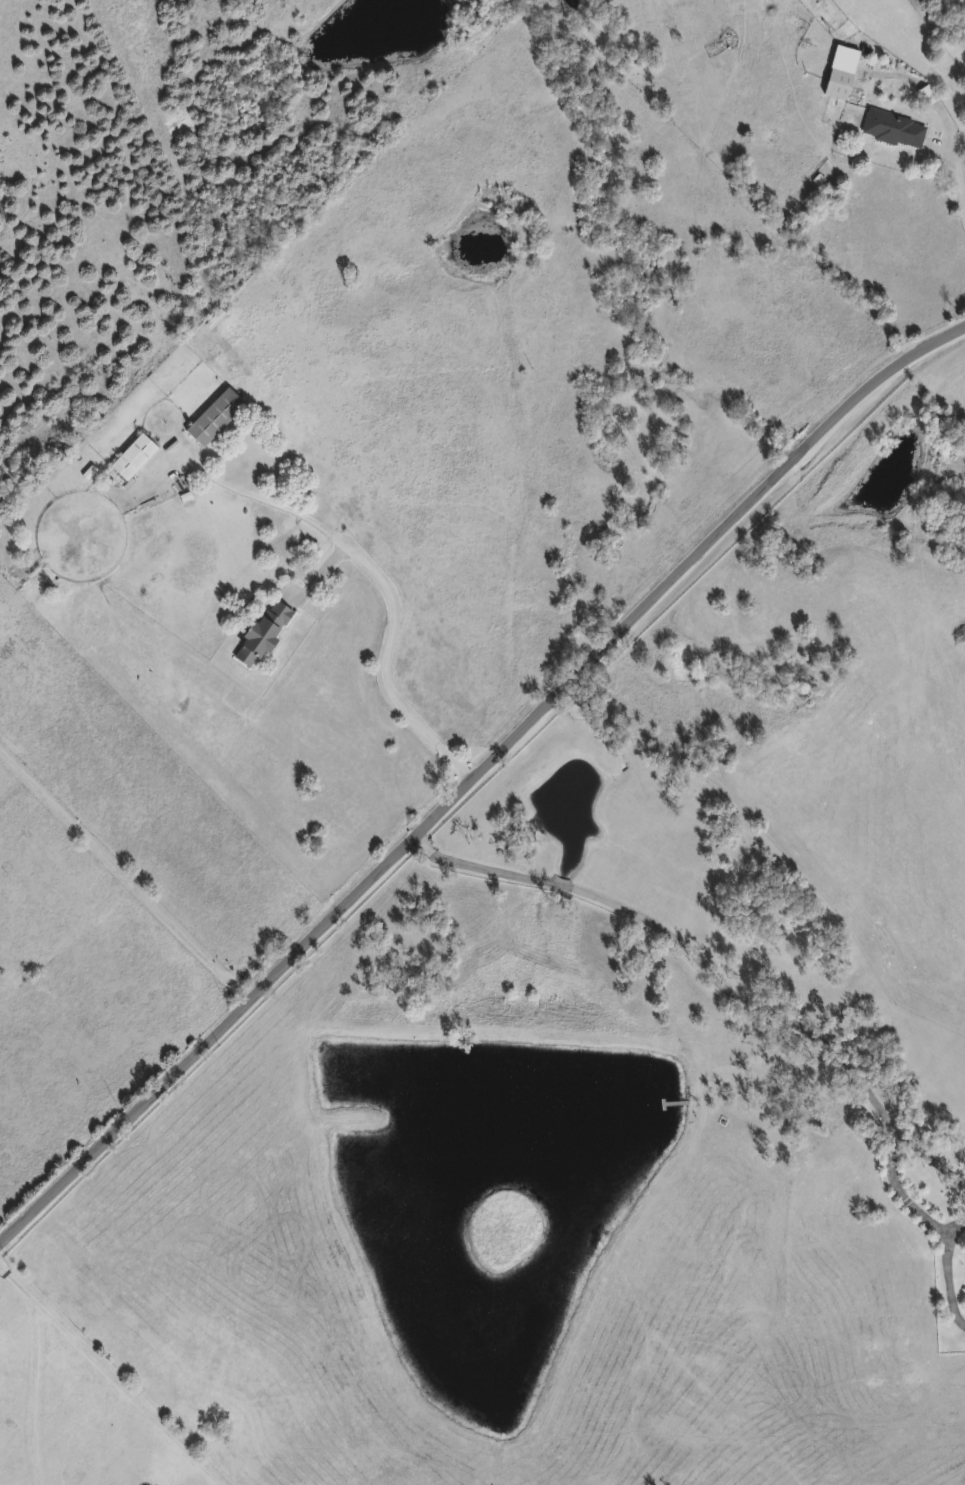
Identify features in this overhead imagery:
building: (843, 74)
building: (895, 131)
road: (955, 185)
building: (216, 419)
building: (134, 458)
road: (381, 577)
building: (264, 634)
road: (476, 775)
road: (475, 870)
road: (124, 875)
road: (559, 890)
road: (792, 1029)
road: (925, 1154)
road: (949, 1230)
road: (943, 1287)
road: (107, 1375)
road: (26, 1390)
building: (696, 1417)

